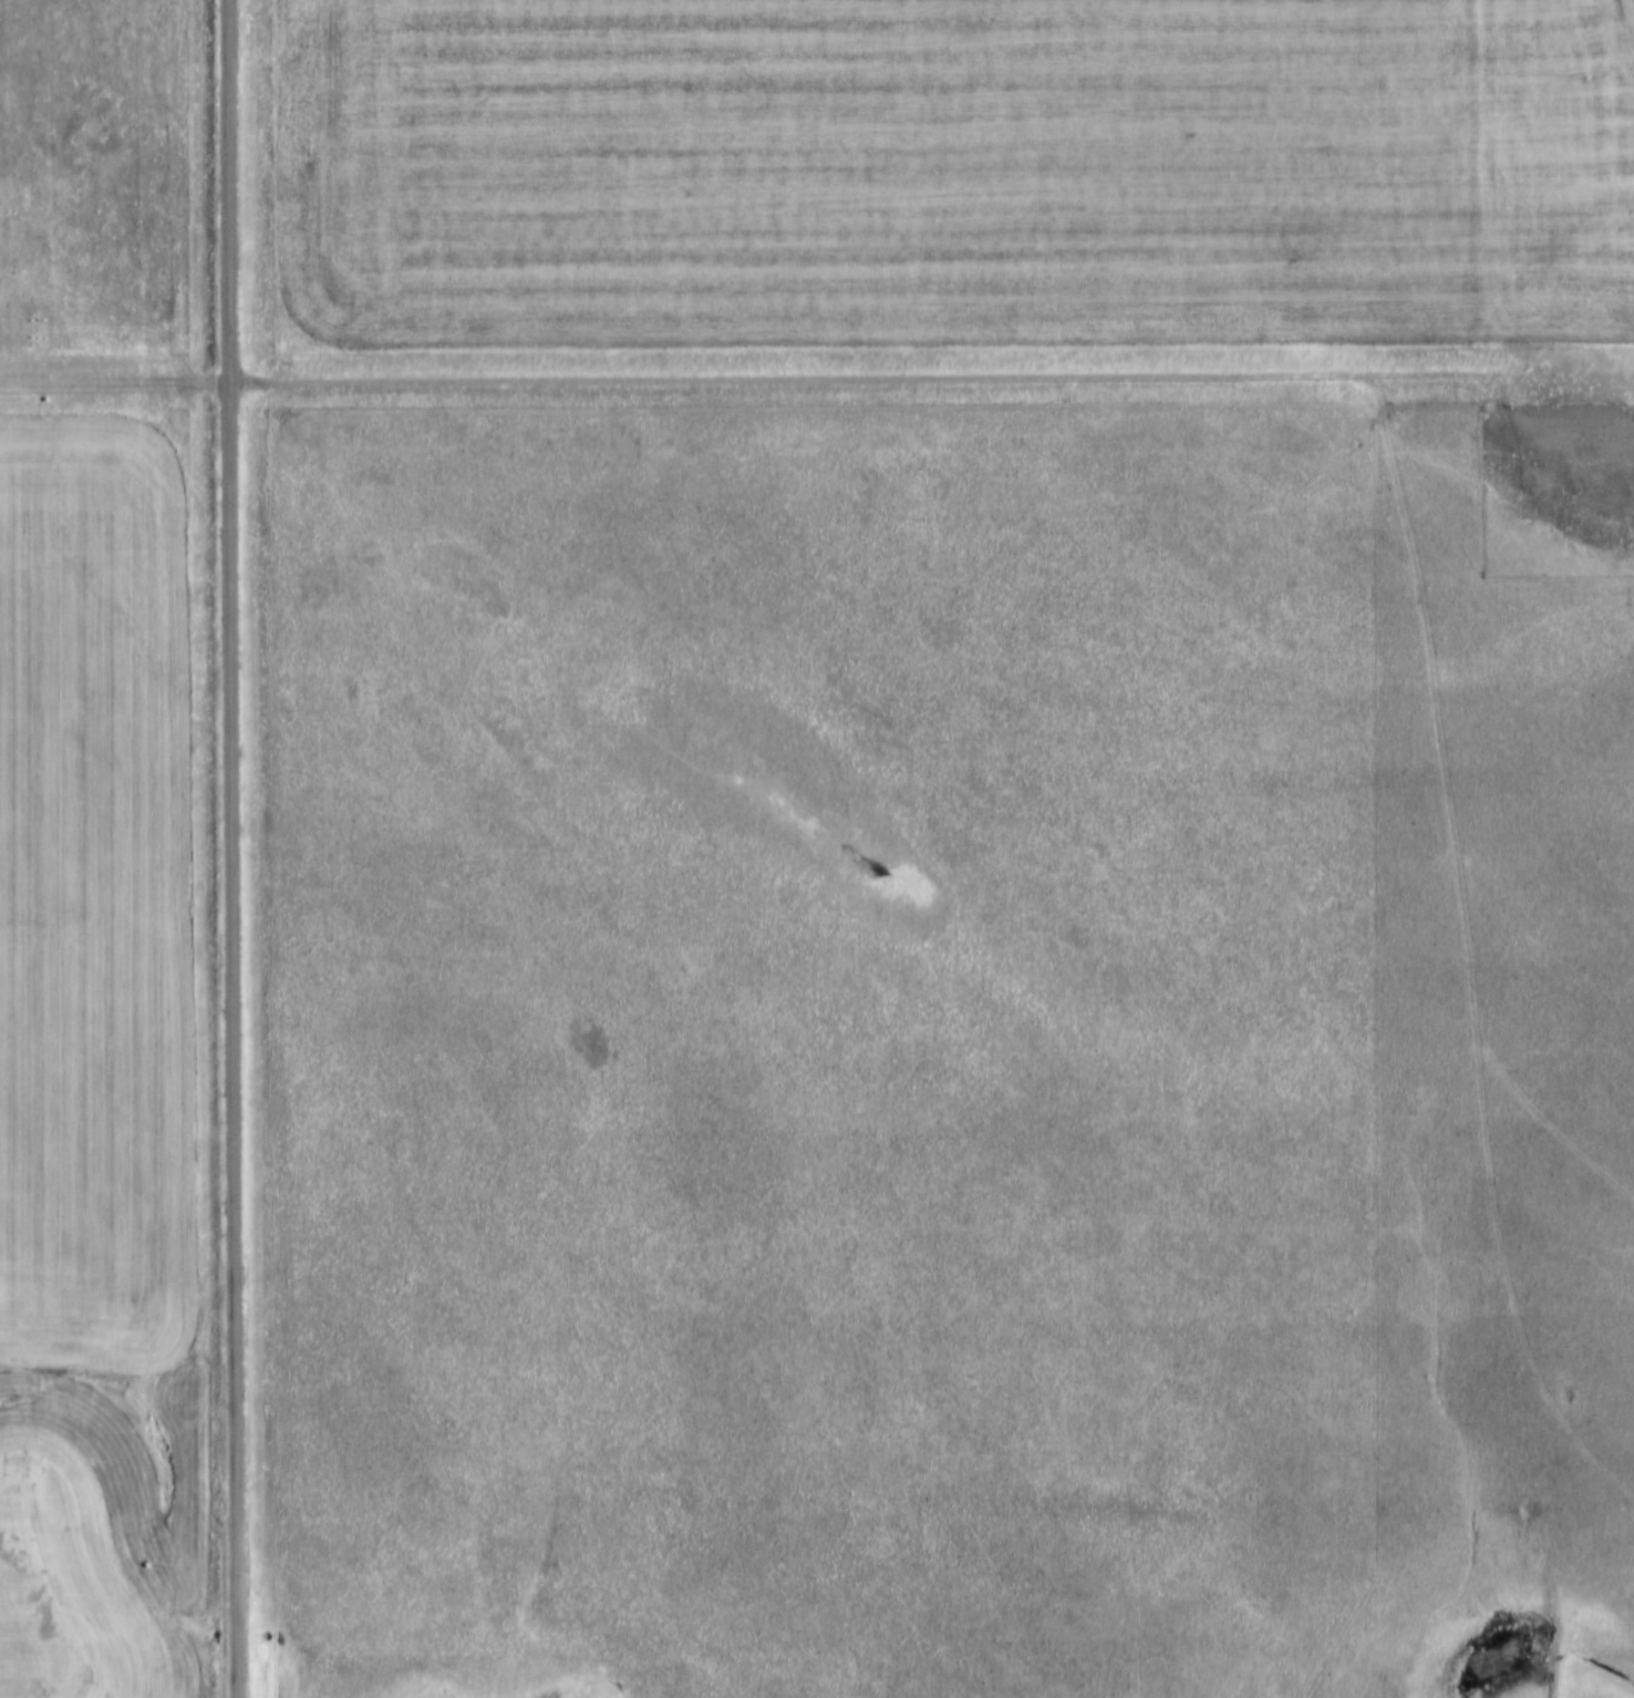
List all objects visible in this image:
road: (918, 379)
road: (116, 380)
road: (234, 848)

